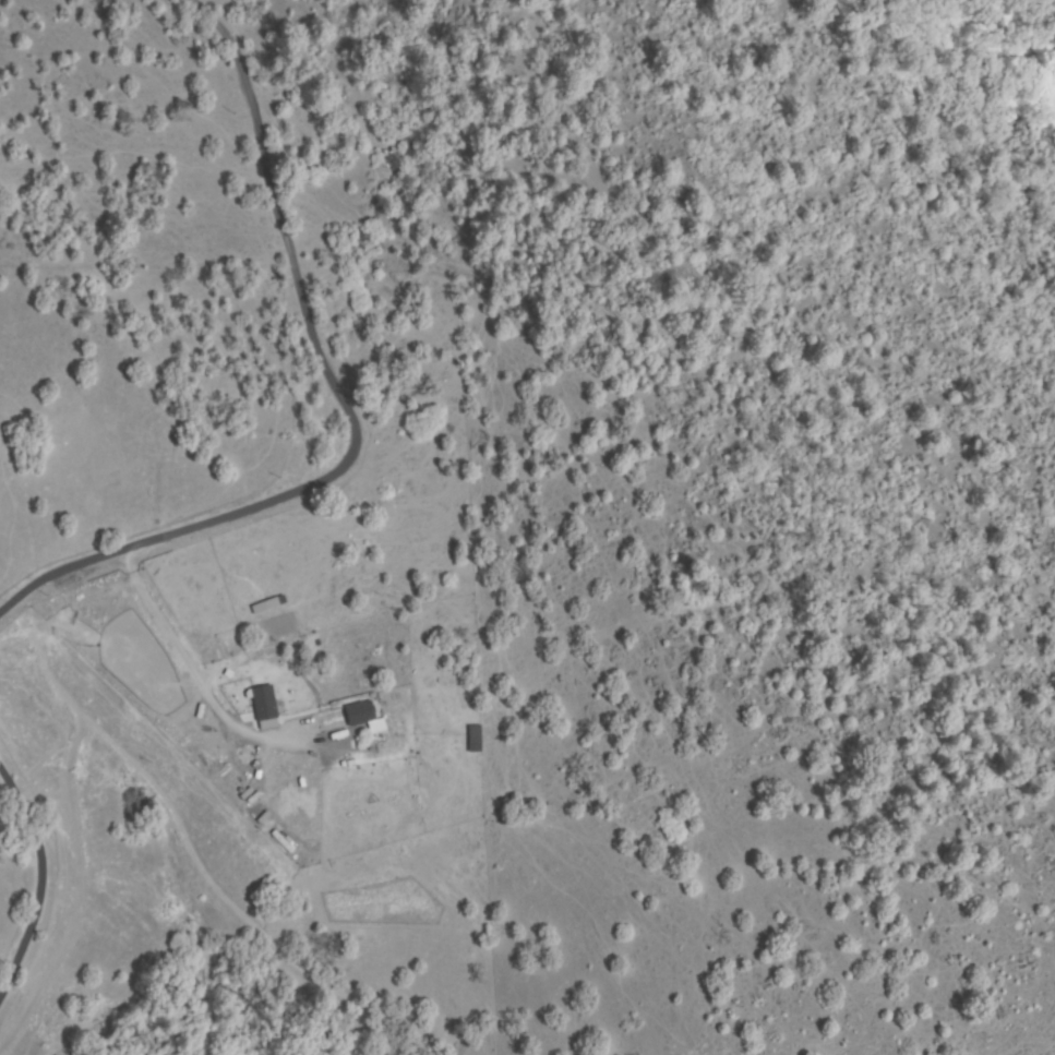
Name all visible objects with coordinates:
road: (348, 407)
building: (265, 606)
building: (263, 704)
building: (341, 718)
building: (473, 735)
road: (41, 880)

